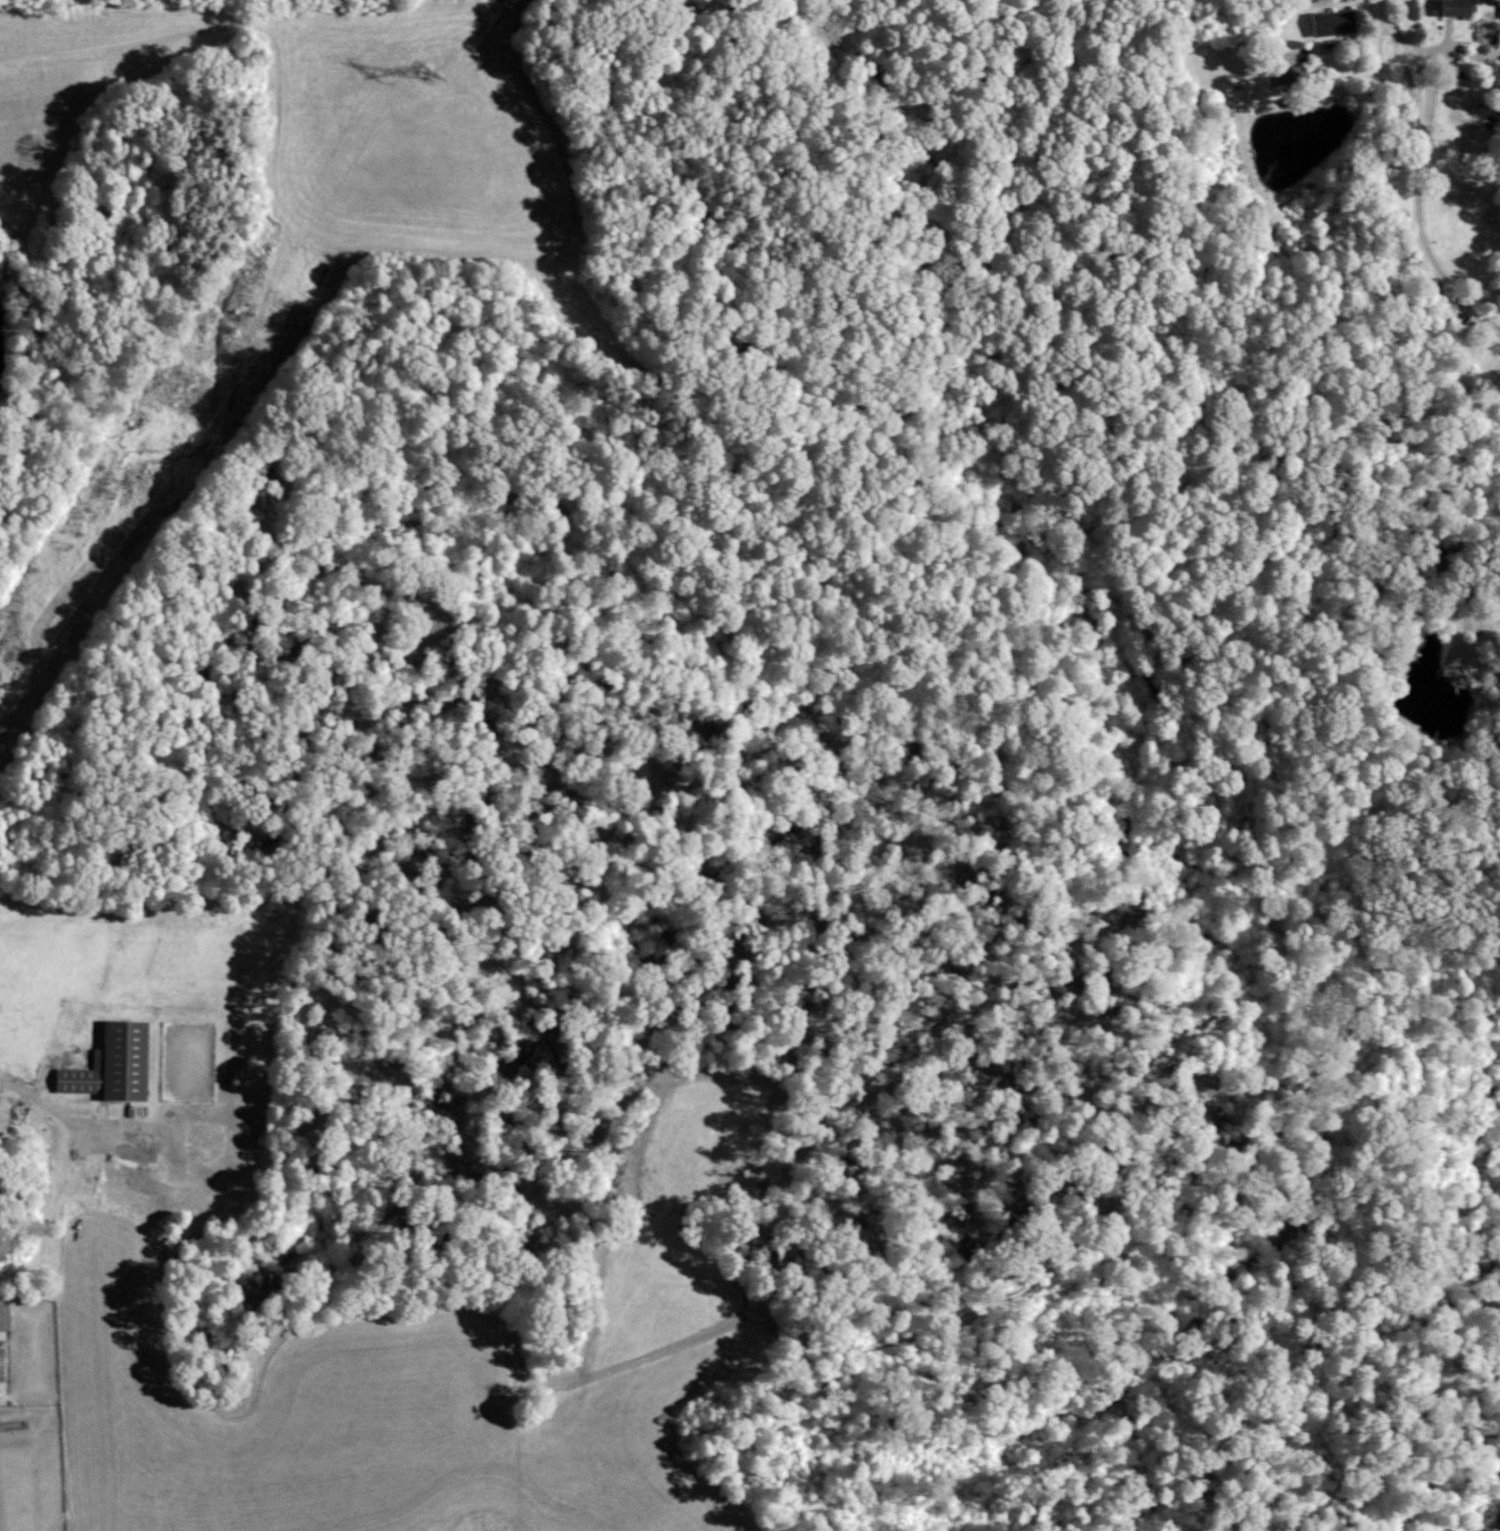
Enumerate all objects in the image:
building: (1450, 7)
building: (1330, 21)
road: (1289, 24)
power tower: (427, 74)
road: (1422, 173)
building: (108, 1064)
road: (24, 1093)
building: (2, 1316)

